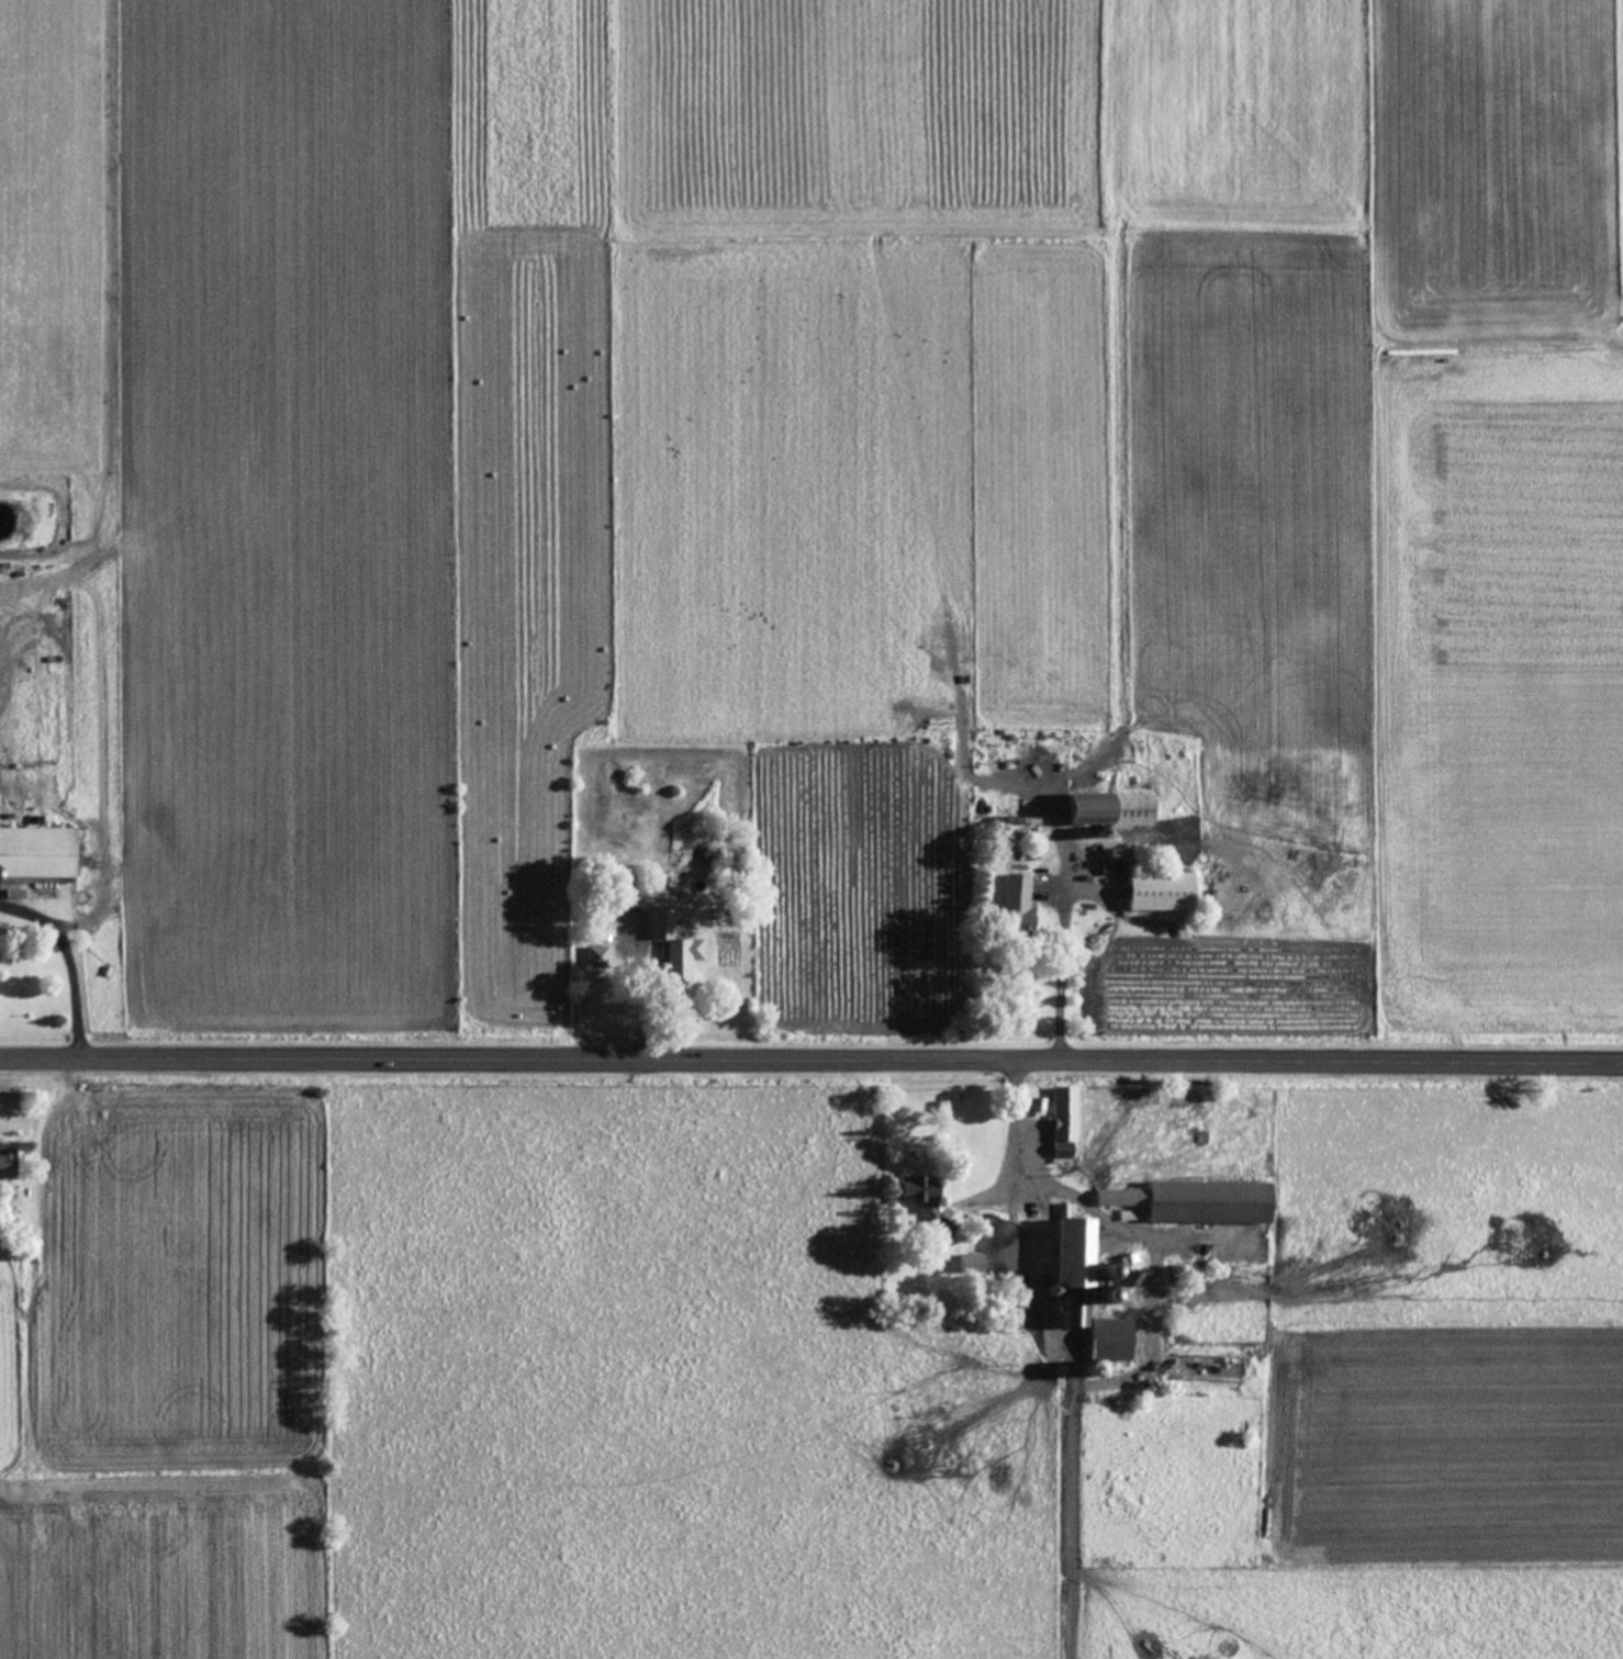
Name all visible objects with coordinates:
building: (1105, 811)
building: (1118, 856)
building: (35, 861)
building: (1153, 893)
building: (1012, 901)
building: (671, 948)
road: (1059, 956)
road: (66, 961)
road: (811, 1061)
building: (1061, 1123)
building: (5, 1164)
road: (1046, 1180)
building: (920, 1203)
building: (1190, 1203)
building: (965, 1265)
building: (1082, 1293)

